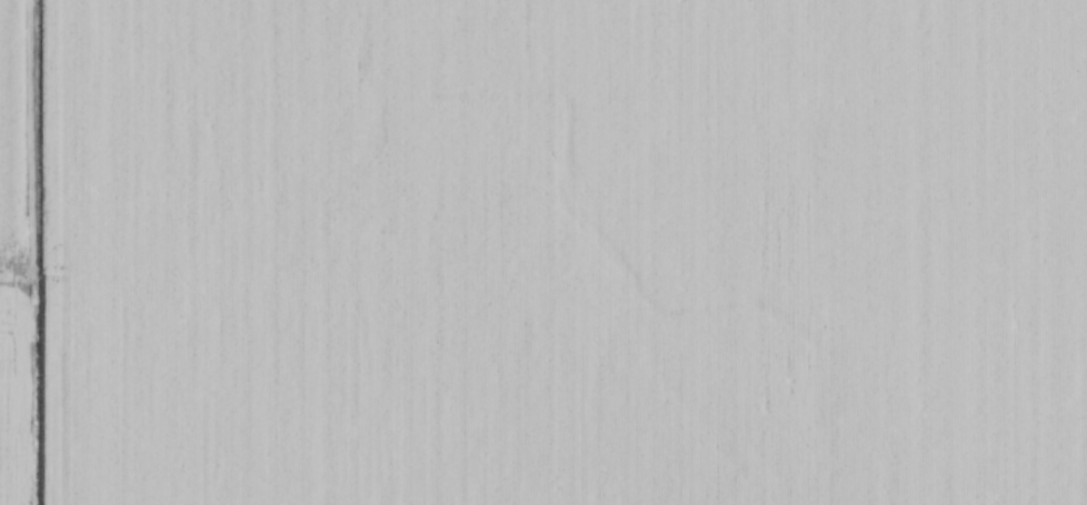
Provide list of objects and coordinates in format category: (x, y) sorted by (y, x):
crop: (543, 252)

